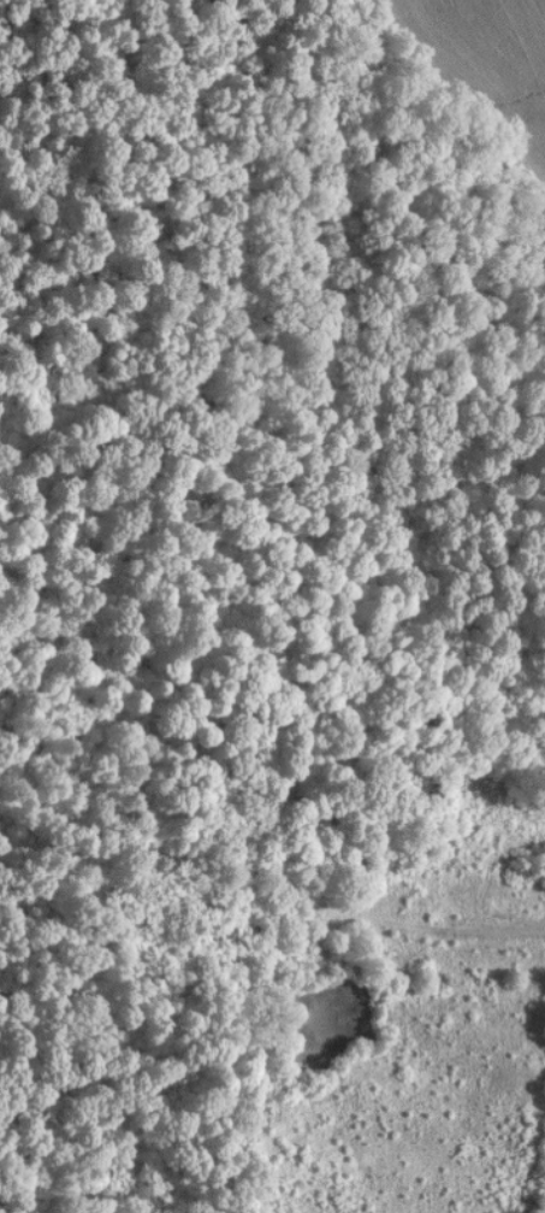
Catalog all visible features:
building: (525, 870)
road: (494, 936)

